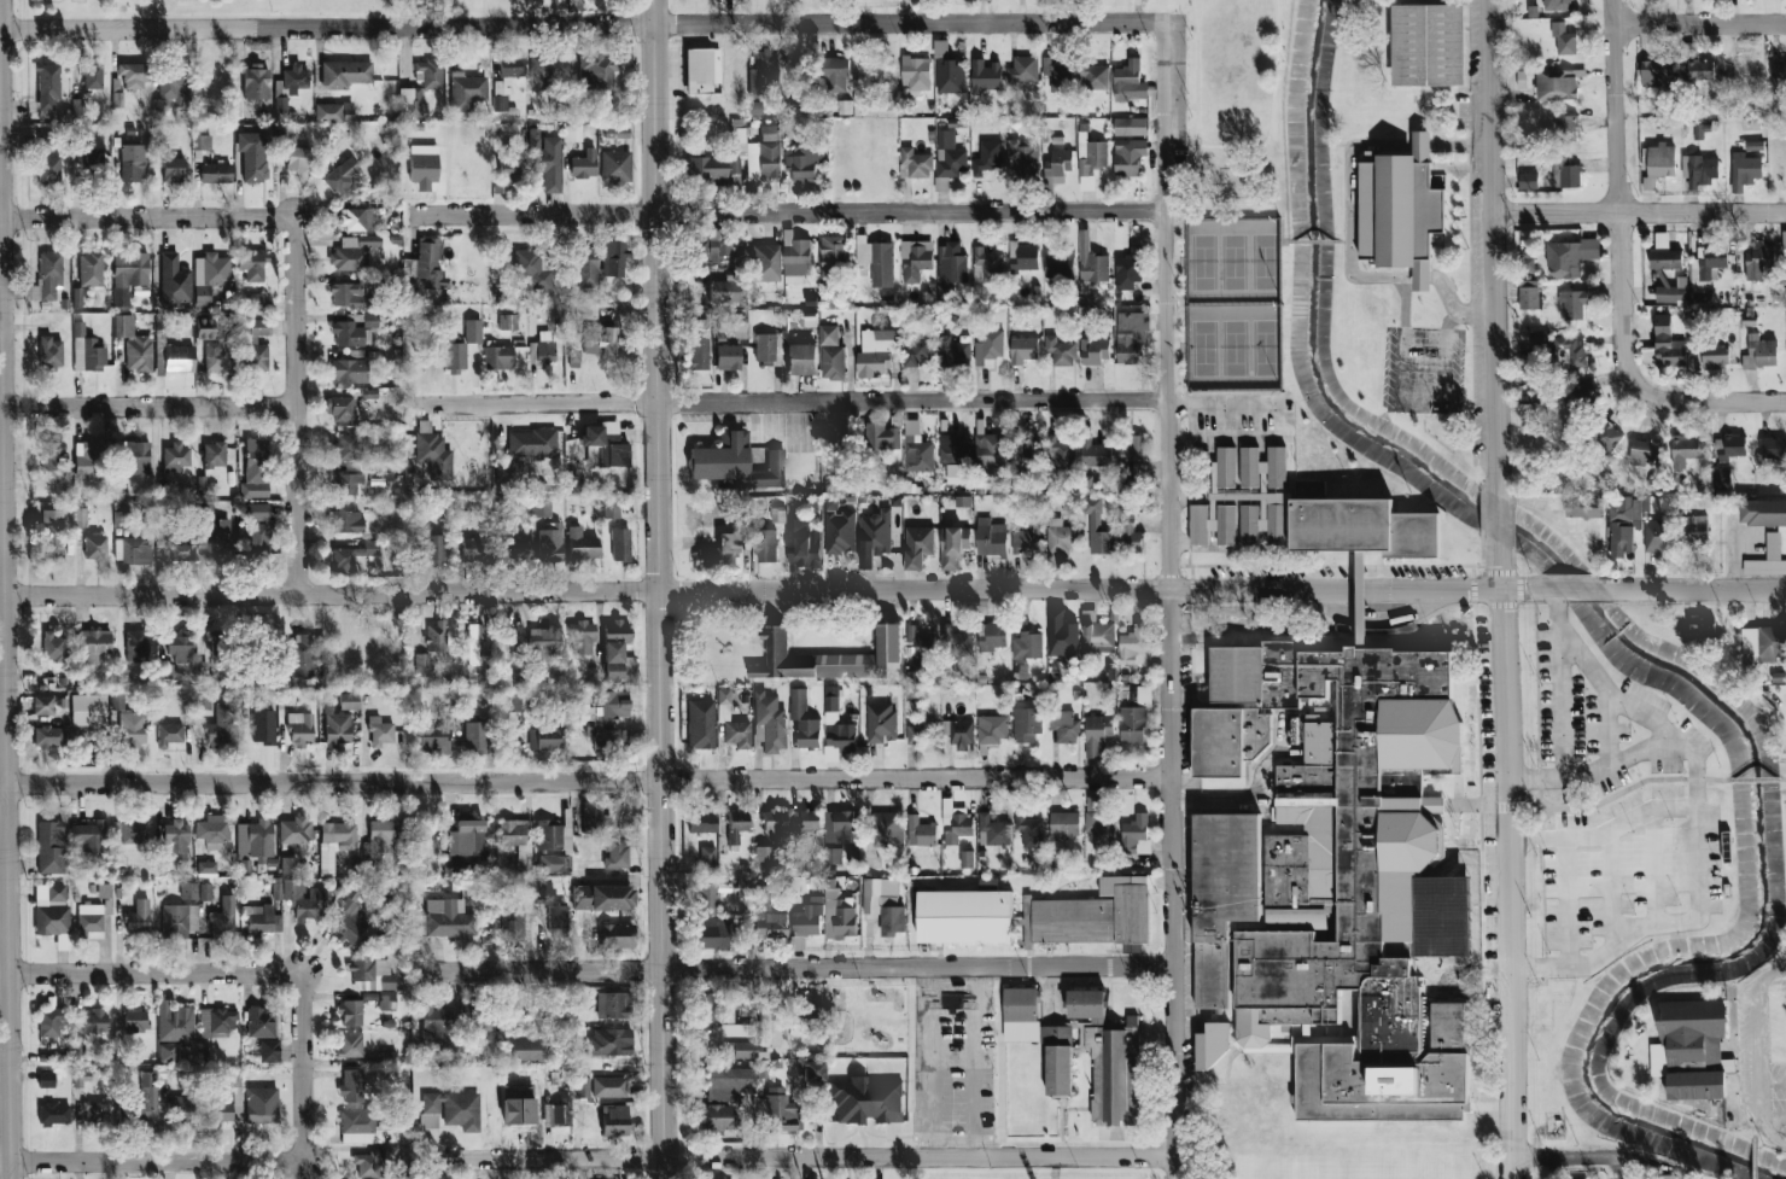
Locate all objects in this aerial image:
building: (986, 0)
building: (1687, 0)
building: (443, 1)
building: (1558, 5)
road: (579, 24)
road: (1699, 24)
building: (1563, 39)
building: (1428, 45)
building: (1778, 69)
building: (595, 70)
building: (701, 70)
building: (1022, 70)
building: (763, 71)
building: (539, 72)
building: (834, 72)
building: (915, 72)
building: (1657, 72)
building: (345, 74)
building: (428, 74)
building: (91, 75)
building: (950, 75)
building: (1057, 75)
building: (133, 76)
building: (985, 76)
building: (1096, 77)
building: (294, 80)
building: (507, 80)
building: (171, 82)
building: (256, 82)
building: (1130, 82)
building: (1556, 84)
building: (47, 86)
building: (466, 91)
building: (117, 99)
building: (410, 101)
building: (76, 105)
building: (158, 106)
building: (333, 112)
building: (957, 123)
building: (1130, 127)
building: (1565, 128)
building: (572, 133)
building: (619, 133)
building: (202, 142)
building: (1753, 146)
building: (761, 154)
building: (252, 156)
building: (1092, 157)
building: (1128, 157)
building: (297, 158)
building: (987, 158)
building: (1023, 158)
building: (949, 159)
building: (92, 160)
building: (805, 162)
building: (132, 163)
building: (548, 163)
building: (916, 163)
building: (47, 164)
building: (1061, 164)
building: (1659, 164)
building: (422, 165)
building: (583, 165)
building: (605, 167)
building: (171, 168)
building: (508, 168)
building: (711, 169)
building: (1699, 170)
building: (1744, 171)
building: (215, 173)
building: (1568, 173)
building: (342, 176)
building: (1528, 181)
road: (1616, 193)
building: (1401, 210)
road: (783, 214)
road: (1639, 214)
road: (146, 217)
building: (356, 220)
road: (1349, 221)
building: (1785, 234)
road: (1315, 241)
road: (1346, 241)
building: (713, 245)
road: (1493, 247)
road: (1185, 249)
building: (354, 252)
building: (1025, 256)
building: (1569, 257)
building: (606, 258)
building: (1665, 258)
building: (831, 259)
building: (915, 259)
building: (1058, 259)
building: (1758, 259)
building: (796, 261)
building: (877, 261)
building: (1091, 262)
building: (765, 263)
building: (951, 263)
building: (426, 264)
building: (251, 265)
building: (986, 265)
building: (1709, 265)
building: (531, 268)
building: (585, 268)
building: (91, 269)
building: (1128, 270)
building: (49, 275)
building: (129, 276)
building: (209, 276)
building: (174, 281)
building: (733, 282)
building: (717, 291)
building: (1673, 291)
building: (349, 294)
building: (1528, 294)
building: (76, 297)
building: (1785, 297)
building: (253, 300)
building: (1572, 303)
park: (1235, 304)
building: (370, 320)
building: (508, 322)
building: (123, 325)
building: (258, 327)
building: (203, 329)
building: (473, 331)
building: (350, 334)
building: (1131, 338)
building: (597, 340)
building: (1540, 340)
building: (695, 344)
building: (778, 345)
building: (990, 346)
building: (542, 348)
building: (764, 348)
building: (877, 349)
building: (918, 350)
building: (1022, 350)
building: (1095, 350)
building: (1574, 350)
building: (49, 351)
building: (87, 351)
building: (1060, 351)
building: (952, 352)
building: (1759, 352)
building: (138, 354)
building: (216, 354)
building: (831, 354)
building: (455, 355)
building: (1715, 356)
building: (256, 357)
building: (506, 357)
building: (728, 357)
building: (177, 358)
building: (574, 358)
building: (801, 360)
building: (350, 368)
building: (1578, 396)
road: (1706, 402)
road: (786, 403)
road: (293, 405)
road: (147, 407)
building: (342, 408)
road: (1222, 408)
building: (883, 436)
building: (1605, 437)
building: (839, 439)
building: (531, 443)
building: (596, 444)
building: (346, 446)
building: (1729, 446)
building: (1773, 448)
building: (916, 449)
building: (991, 450)
building: (1683, 450)
building: (1645, 451)
building: (433, 453)
building: (1061, 453)
building: (1095, 454)
building: (51, 455)
building: (215, 455)
building: (956, 456)
building: (1027, 456)
building: (1132, 456)
building: (138, 457)
building: (175, 457)
building: (722, 457)
building: (89, 459)
building: (1262, 467)
building: (256, 468)
building: (503, 471)
building: (770, 471)
building: (1722, 478)
building: (345, 483)
building: (963, 501)
building: (1584, 506)
building: (539, 507)
building: (612, 508)
building: (257, 512)
building: (1763, 512)
building: (777, 515)
building: (80, 516)
road: (1498, 518)
building: (121, 519)
building: (348, 521)
building: (1626, 523)
building: (1213, 524)
building: (1338, 525)
building: (1097, 527)
building: (839, 529)
building: (876, 532)
building: (1026, 533)
building: (1128, 533)
building: (1694, 533)
building: (52, 535)
building: (1659, 535)
building: (257, 537)
building: (1061, 537)
building: (804, 538)
building: (991, 538)
building: (216, 541)
building: (550, 543)
building: (620, 544)
building: (582, 545)
building: (765, 545)
building: (918, 545)
building: (953, 545)
building: (94, 547)
building: (513, 548)
building: (716, 548)
building: (433, 549)
building: (478, 549)
building: (183, 550)
building: (133, 551)
building: (352, 555)
building: (1768, 559)
road: (660, 589)
road: (1581, 589)
road: (778, 590)
road: (1694, 591)
road: (1168, 600)
building: (1588, 620)
building: (1700, 630)
building: (1061, 634)
building: (1097, 634)
building: (991, 636)
building: (436, 637)
building: (582, 637)
building: (218, 641)
building: (473, 641)
building: (544, 642)
building: (956, 642)
building: (1764, 642)
building: (918, 643)
building: (93, 644)
building: (317, 644)
building: (136, 646)
building: (1027, 646)
building: (180, 647)
building: (1134, 647)
building: (1610, 647)
building: (57, 649)
building: (300, 658)
building: (831, 658)
building: (613, 660)
building: (421, 665)
building: (165, 671)
building: (117, 701)
building: (349, 701)
building: (203, 702)
building: (513, 702)
building: (42, 705)
building: (607, 707)
building: (88, 710)
building: (804, 719)
building: (880, 722)
building: (733, 723)
building: (770, 723)
building: (836, 723)
building: (700, 724)
building: (1027, 724)
building: (221, 725)
building: (263, 726)
building: (1064, 726)
building: (133, 728)
building: (335, 728)
building: (300, 729)
building: (921, 729)
building: (992, 729)
building: (379, 733)
building: (170, 734)
building: (599, 734)
building: (961, 734)
building: (1097, 734)
building: (48, 736)
building: (475, 737)
building: (545, 737)
building: (433, 740)
road: (4, 746)
road: (1593, 772)
road: (1753, 780)
road: (1784, 780)
road: (584, 781)
building: (1092, 802)
building: (1434, 805)
road: (1594, 806)
building: (591, 817)
flagpole: (1457, 819)
road: (1695, 819)
building: (701, 822)
building: (805, 822)
building: (955, 823)
building: (774, 824)
building: (1064, 824)
building: (736, 825)
building: (840, 827)
flagpole: (1457, 827)
building: (887, 829)
building: (212, 830)
building: (294, 830)
building: (992, 830)
building: (1029, 830)
building: (920, 831)
building: (1101, 831)
road: (1604, 831)
building: (133, 833)
building: (339, 834)
building: (1136, 834)
flagpole: (1457, 834)
building: (89, 835)
building: (551, 835)
building: (378, 839)
building: (176, 840)
building: (255, 840)
building: (467, 840)
building: (516, 840)
building: (49, 847)
building: (607, 851)
building: (834, 856)
building: (763, 857)
building: (707, 858)
road: (1508, 858)
building: (967, 859)
building: (555, 863)
building: (288, 865)
building: (206, 869)
building: (1327, 880)
building: (745, 887)
building: (104, 891)
building: (189, 891)
building: (205, 892)
building: (541, 892)
building: (590, 898)
building: (705, 899)
building: (305, 900)
building: (883, 904)
building: (51, 910)
building: (1093, 915)
building: (351, 916)
building: (766, 916)
building: (839, 916)
building: (965, 916)
building: (89, 917)
building: (139, 917)
building: (223, 918)
building: (449, 918)
building: (179, 920)
building: (262, 920)
building: (512, 921)
building: (558, 921)
building: (807, 921)
building: (712, 933)
building: (605, 935)
building: (796, 942)
building: (1436, 967)
road: (792, 968)
road: (150, 970)
road: (1778, 971)
building: (372, 975)
building: (1440, 987)
road: (1050, 993)
building: (386, 999)
building: (1086, 1003)
building: (602, 1005)
building: (728, 1005)
building: (704, 1006)
building: (805, 1006)
building: (350, 1012)
building: (204, 1017)
building: (223, 1020)
building: (94, 1021)
building: (135, 1021)
building: (261, 1022)
building: (437, 1022)
building: (769, 1022)
building: (51, 1023)
building: (175, 1023)
building: (480, 1023)
building: (1039, 1037)
building: (737, 1041)
building: (597, 1043)
road: (1753, 1043)
building: (350, 1045)
building: (1691, 1047)
building: (523, 1049)
building: (269, 1050)
building: (168, 1052)
building: (389, 1057)
road: (973, 1063)
road: (926, 1064)
road: (302, 1066)
building: (1113, 1069)
building: (812, 1070)
building: (46, 1078)
building: (81, 1078)
road: (1770, 1081)
building: (728, 1082)
building: (352, 1086)
building: (600, 1086)
building: (582, 1087)
parking lot: (1778, 1096)
building: (144, 1099)
building: (866, 1101)
building: (261, 1105)
building: (181, 1107)
building: (454, 1109)
building: (778, 1110)
building: (224, 1111)
building: (95, 1113)
building: (54, 1114)
building: (556, 1114)
building: (714, 1117)
road: (1770, 1120)
building: (428, 1121)
building: (606, 1121)
road: (1755, 1128)
road: (1768, 1134)
building: (390, 1152)
road: (1576, 1158)
road: (1753, 1158)
road: (794, 1161)
road: (151, 1162)
building: (367, 1165)
building: (1668, 1177)

